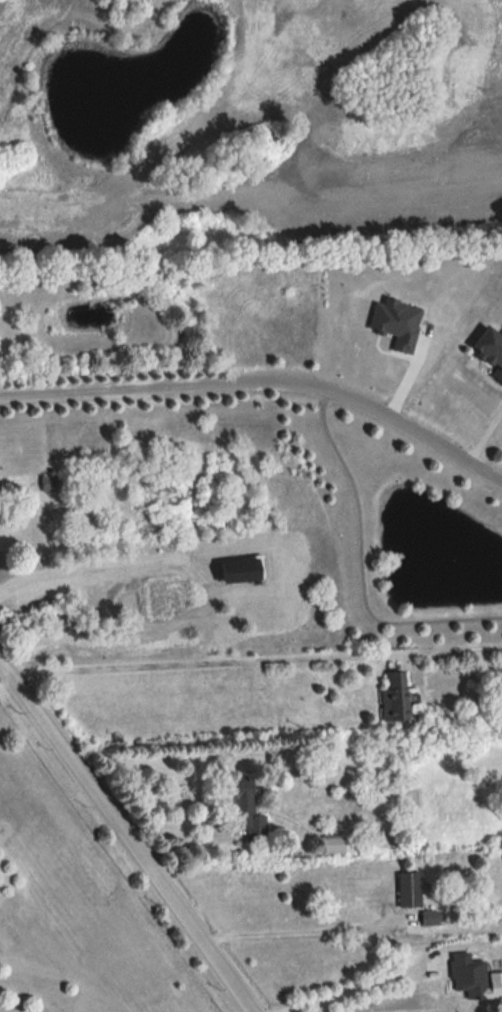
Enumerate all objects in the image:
building: (487, 352)
road: (263, 384)
road: (484, 439)
building: (48, 484)
building: (105, 507)
building: (56, 514)
road: (260, 661)
building: (393, 695)
building: (243, 806)
road: (126, 833)
building: (407, 889)
road: (308, 933)
building: (467, 975)
road: (354, 992)

